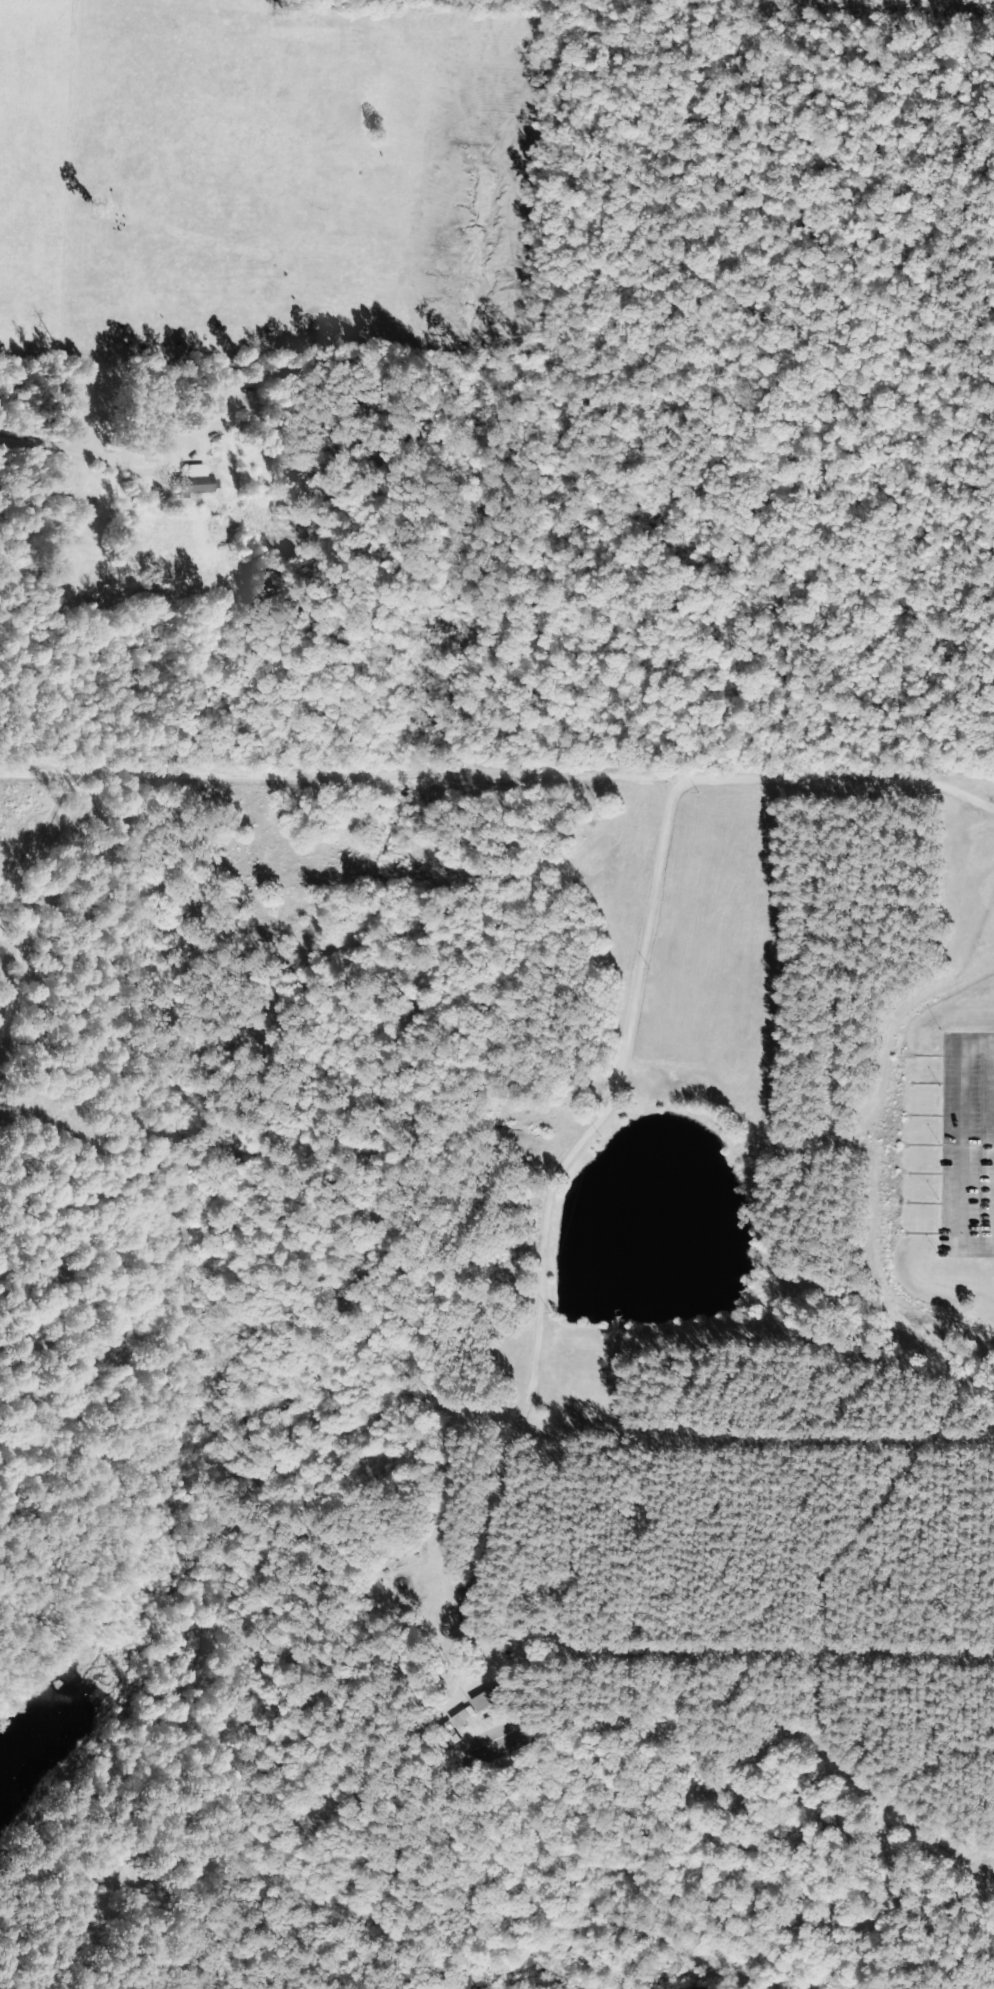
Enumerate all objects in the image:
building: (194, 482)
road: (75, 530)
parking lot: (967, 1140)
building: (480, 1701)

